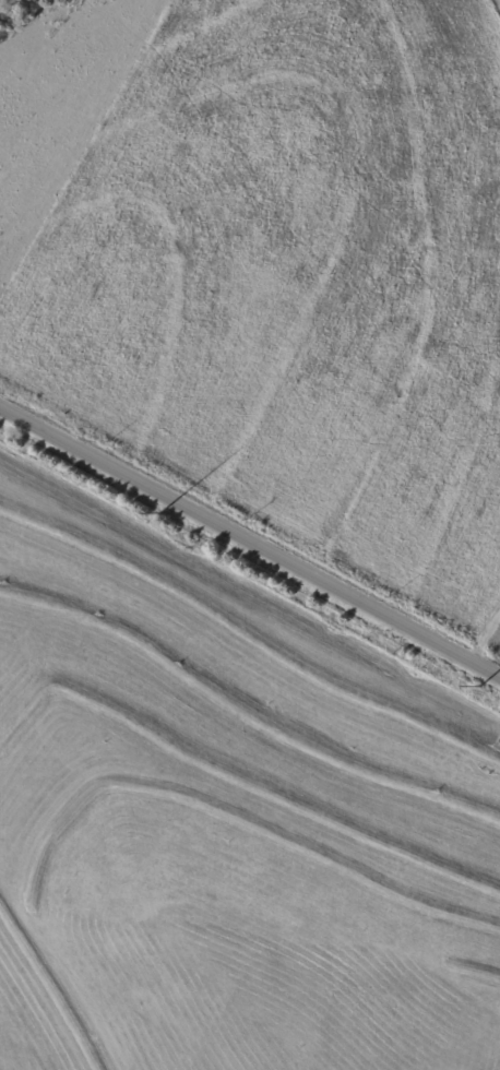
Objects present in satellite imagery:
road: (250, 540)
landfill: (226, 823)

